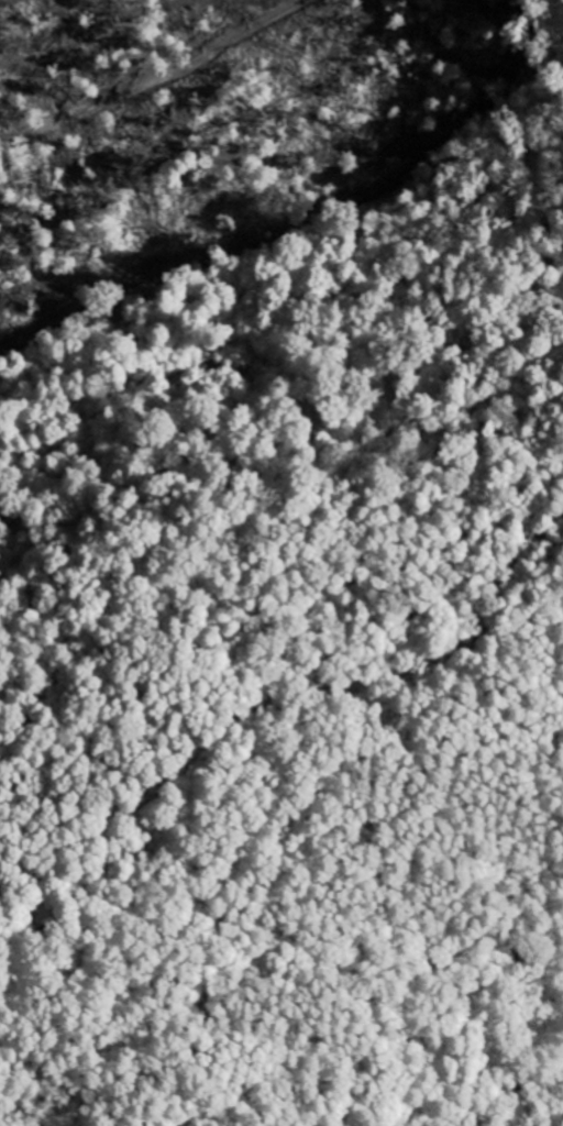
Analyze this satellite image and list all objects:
road: (263, 706)

